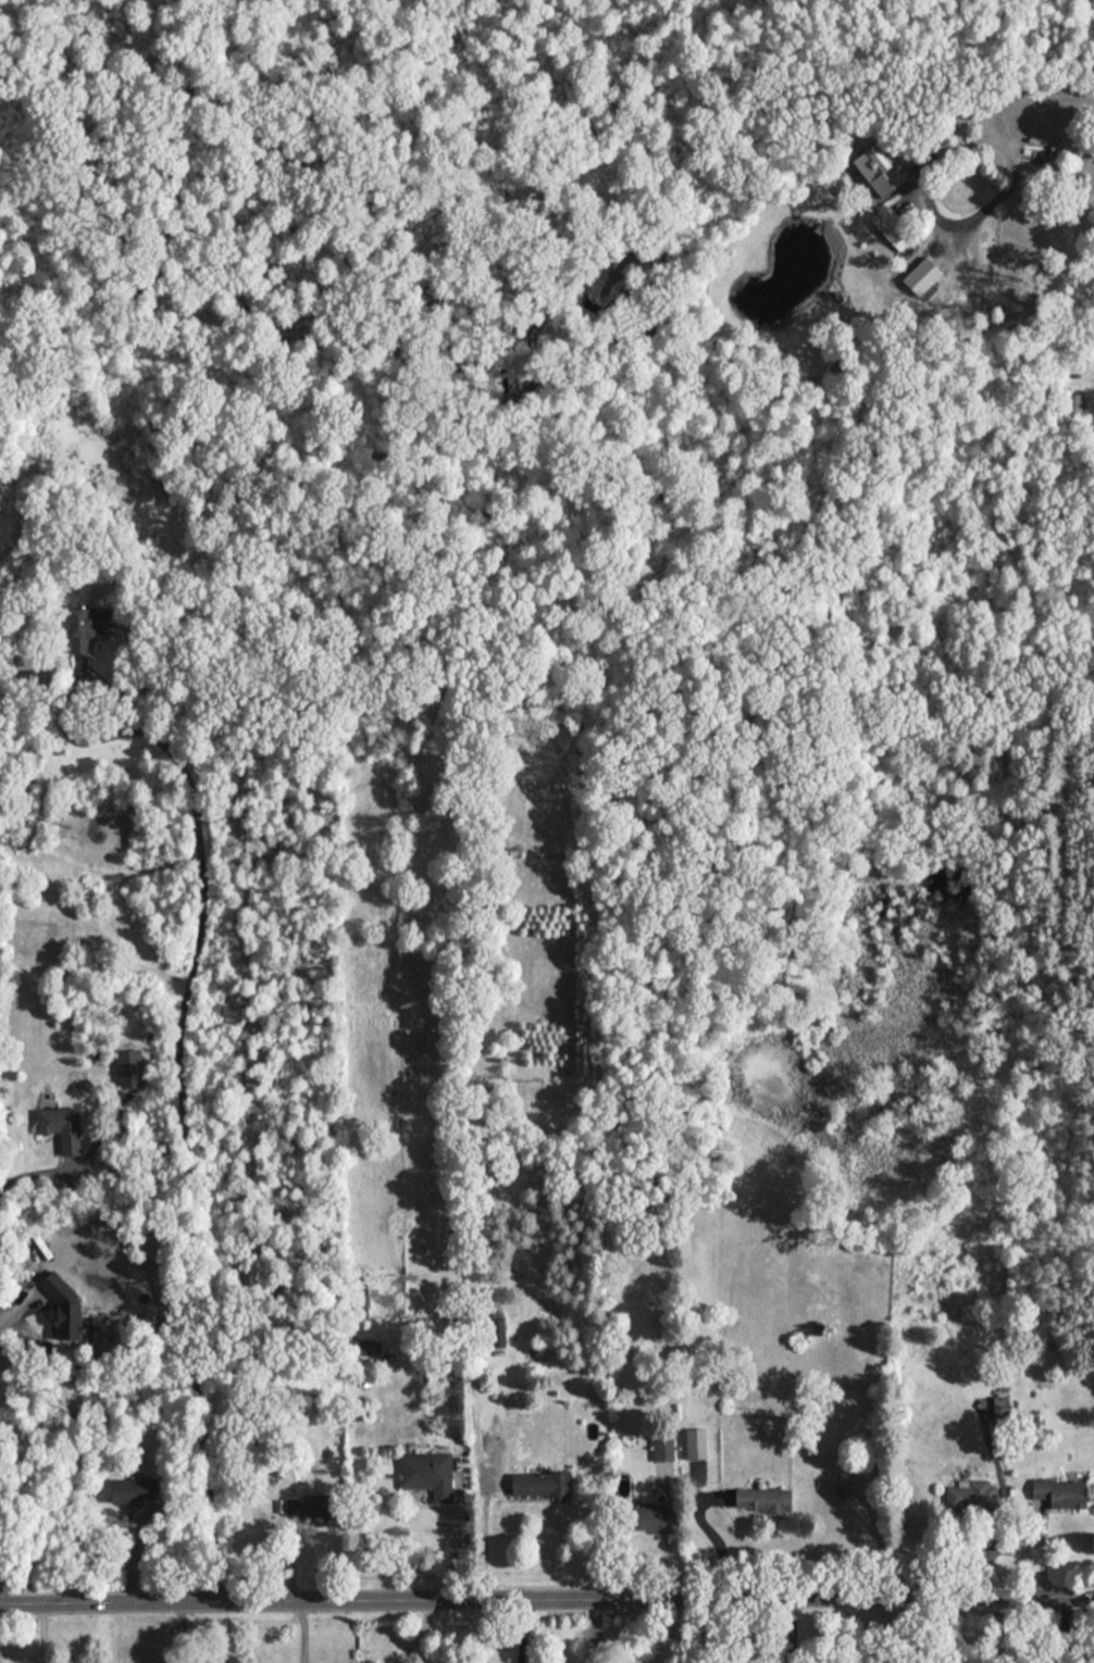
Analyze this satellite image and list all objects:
road: (1054, 103)
road: (964, 142)
building: (873, 163)
road: (996, 200)
building: (894, 229)
building: (1073, 405)
building: (88, 625)
building: (62, 1126)
road: (185, 1127)
road: (24, 1174)
building: (66, 1306)
building: (497, 1331)
building: (370, 1348)
building: (1000, 1412)
building: (699, 1443)
building: (663, 1450)
building: (427, 1474)
building: (542, 1485)
building: (135, 1491)
building: (1062, 1493)
building: (971, 1496)
building: (764, 1500)
building: (310, 1508)
building: (651, 1520)
road: (484, 1535)
road: (712, 1535)
road: (546, 1593)
road: (519, 1628)

